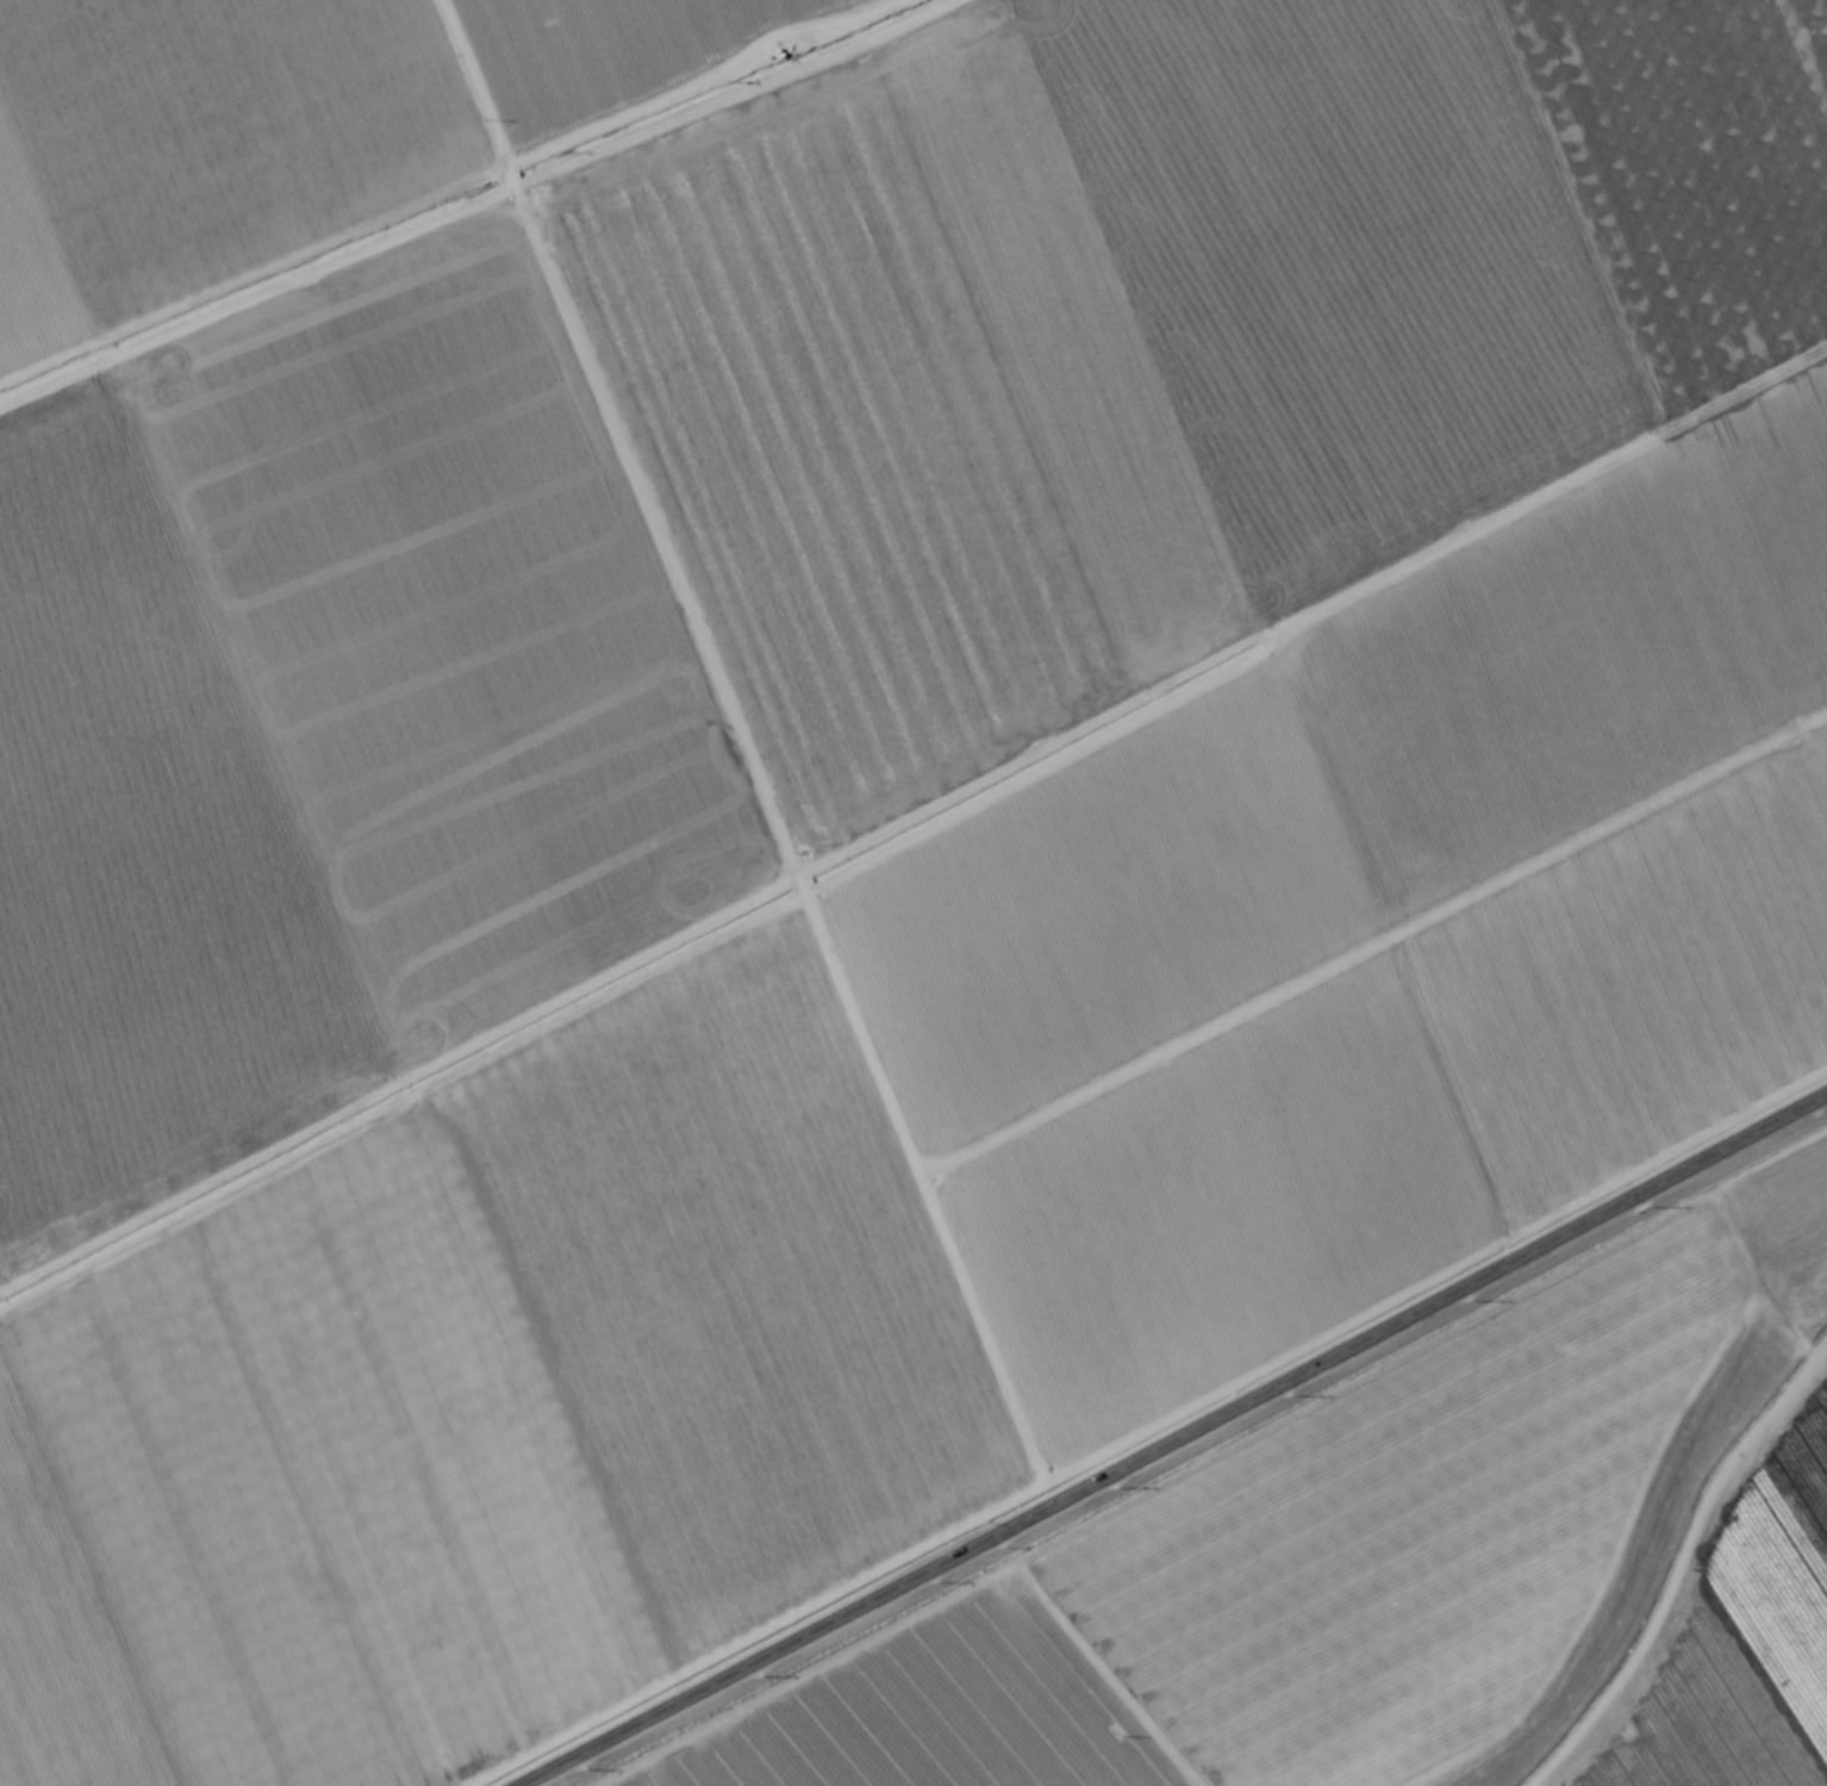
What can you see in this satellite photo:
road: (439, 191)
crop: (913, 892)
road: (1176, 1439)
road: (1726, 1636)

